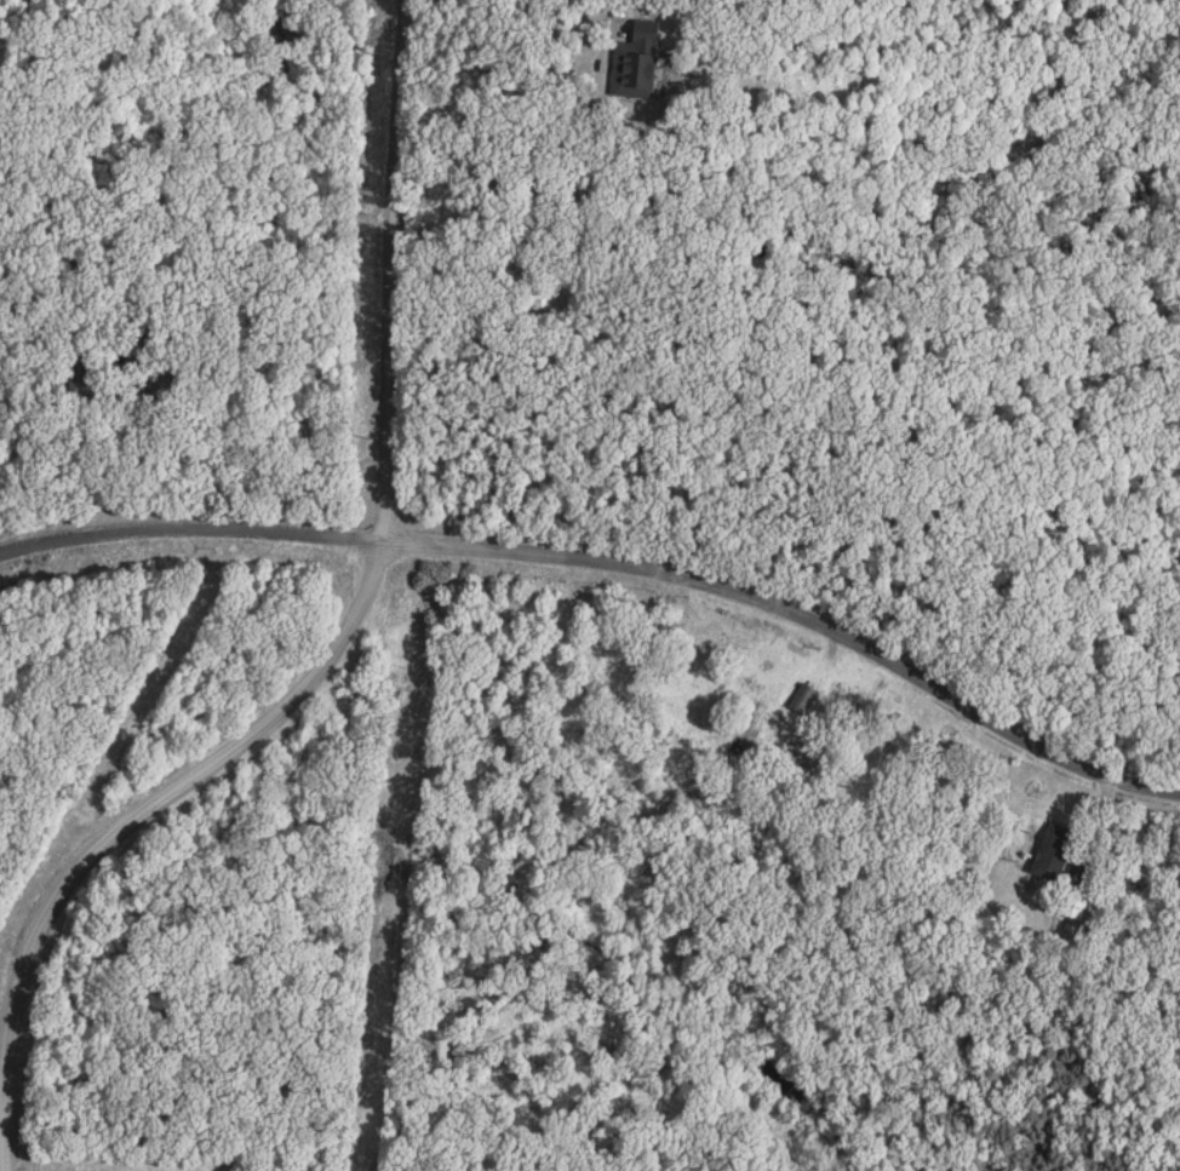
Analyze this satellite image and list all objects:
road: (608, 36)
building: (638, 64)
road: (374, 276)
road: (74, 476)
road: (614, 572)
building: (806, 699)
road: (126, 827)
building: (1059, 845)
road: (1099, 857)

